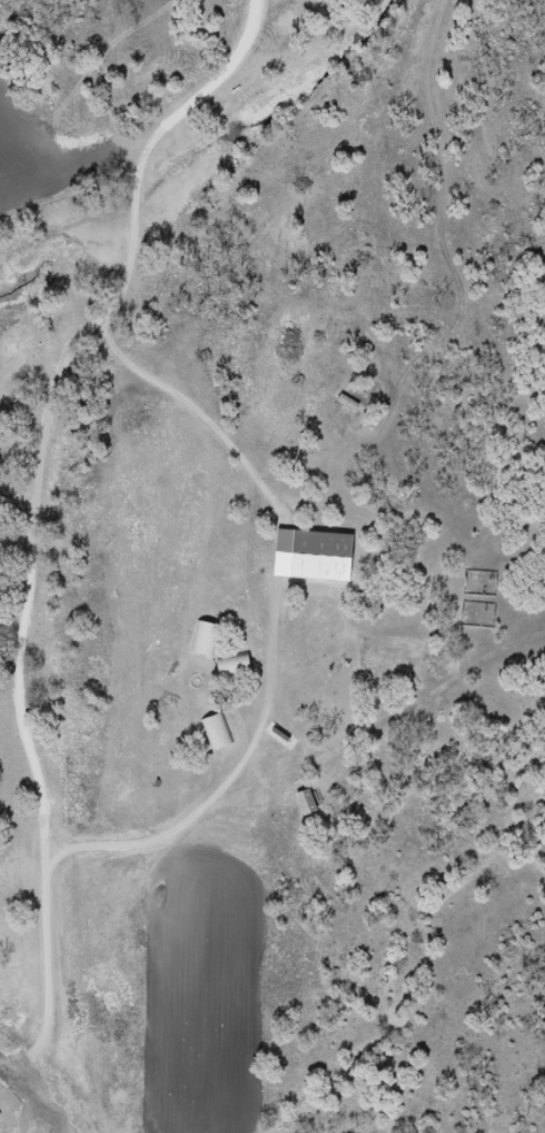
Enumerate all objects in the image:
building: (315, 556)
building: (218, 733)
building: (307, 804)

